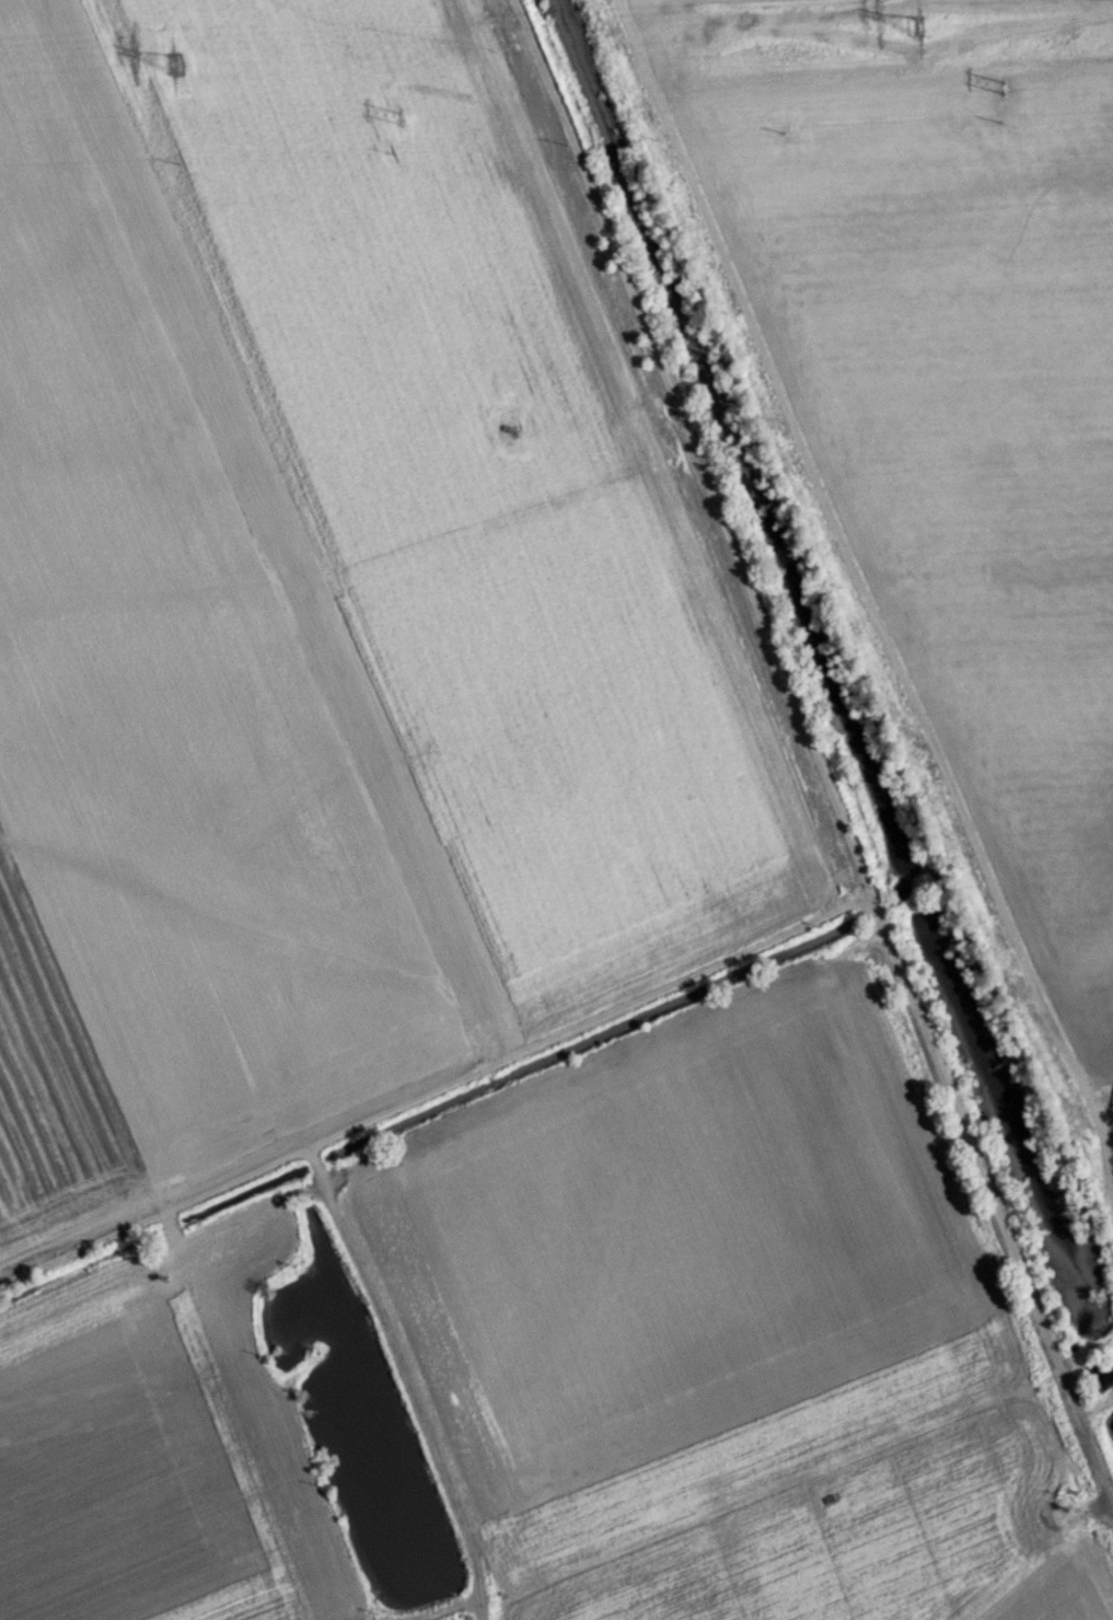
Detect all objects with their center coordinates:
power tower: (917, 25)
power tower: (171, 62)
power tower: (997, 85)
power tower: (403, 118)

